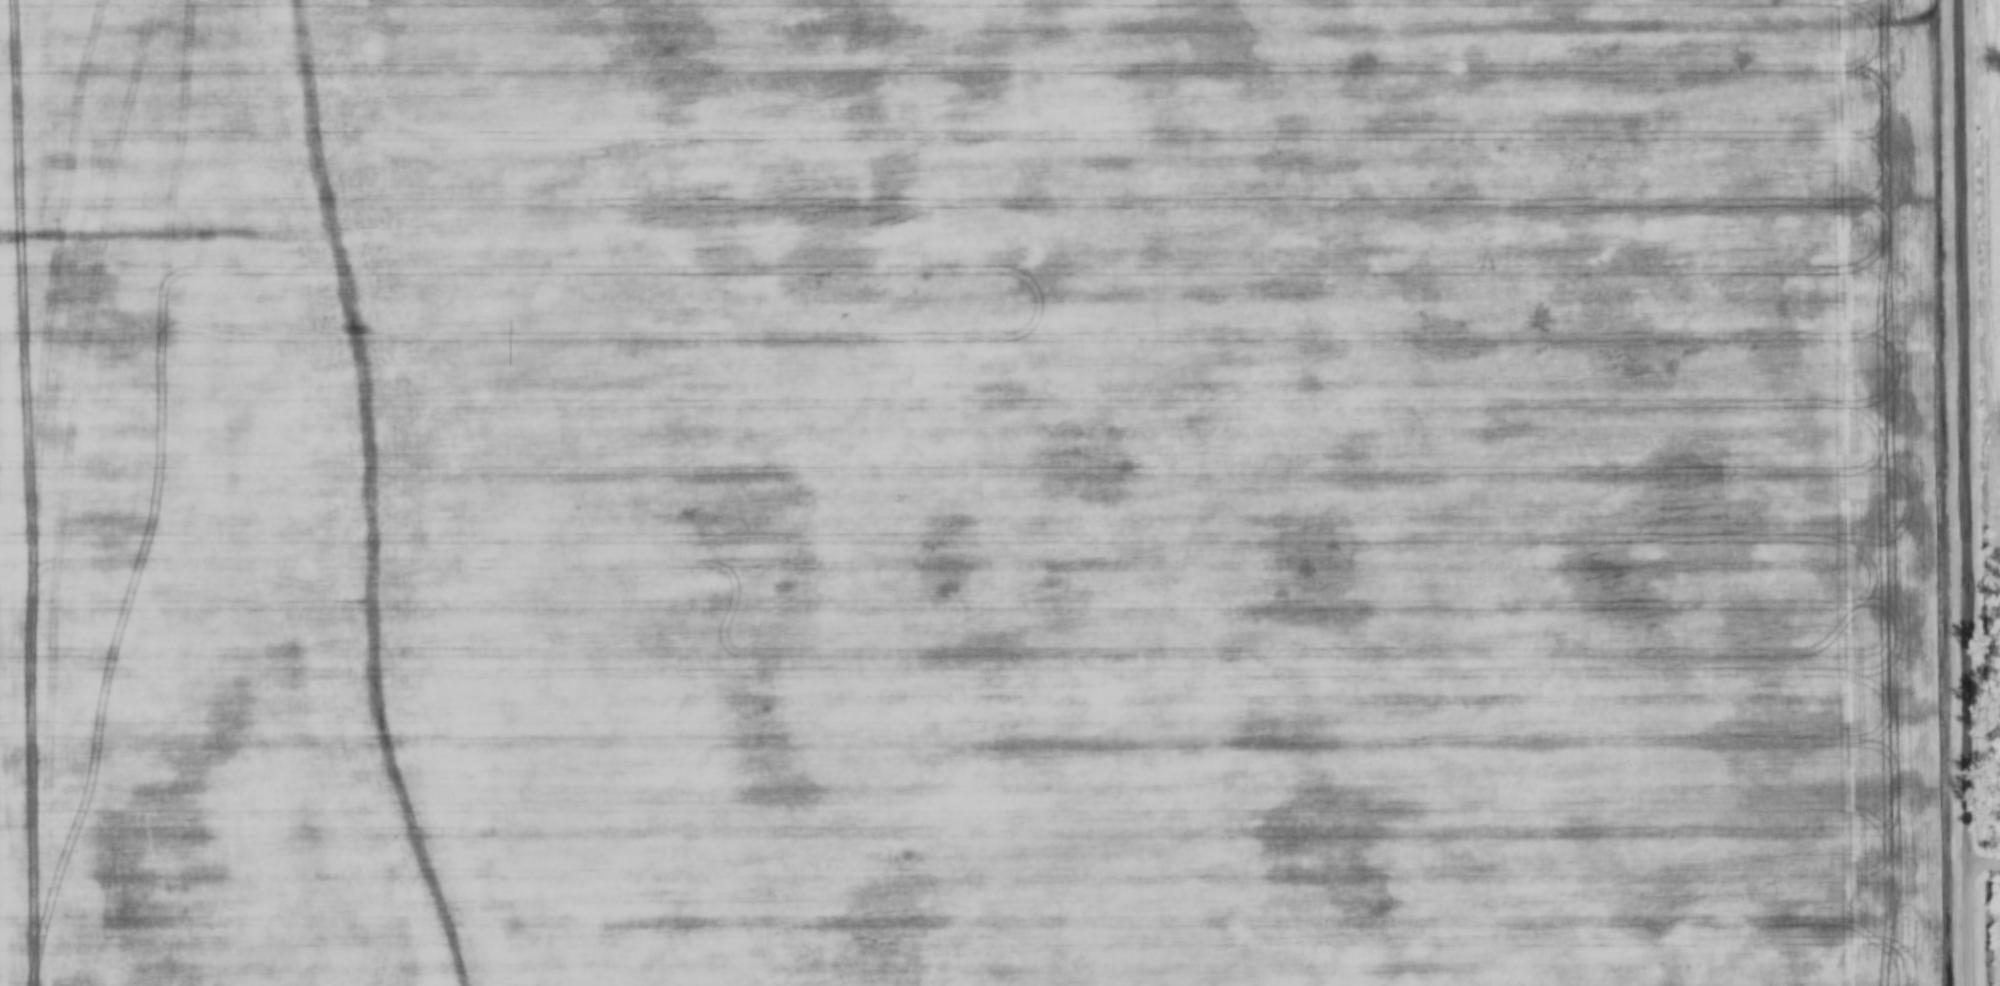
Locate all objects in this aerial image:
road: (1961, 428)
road: (1983, 859)
road: (1967, 921)

